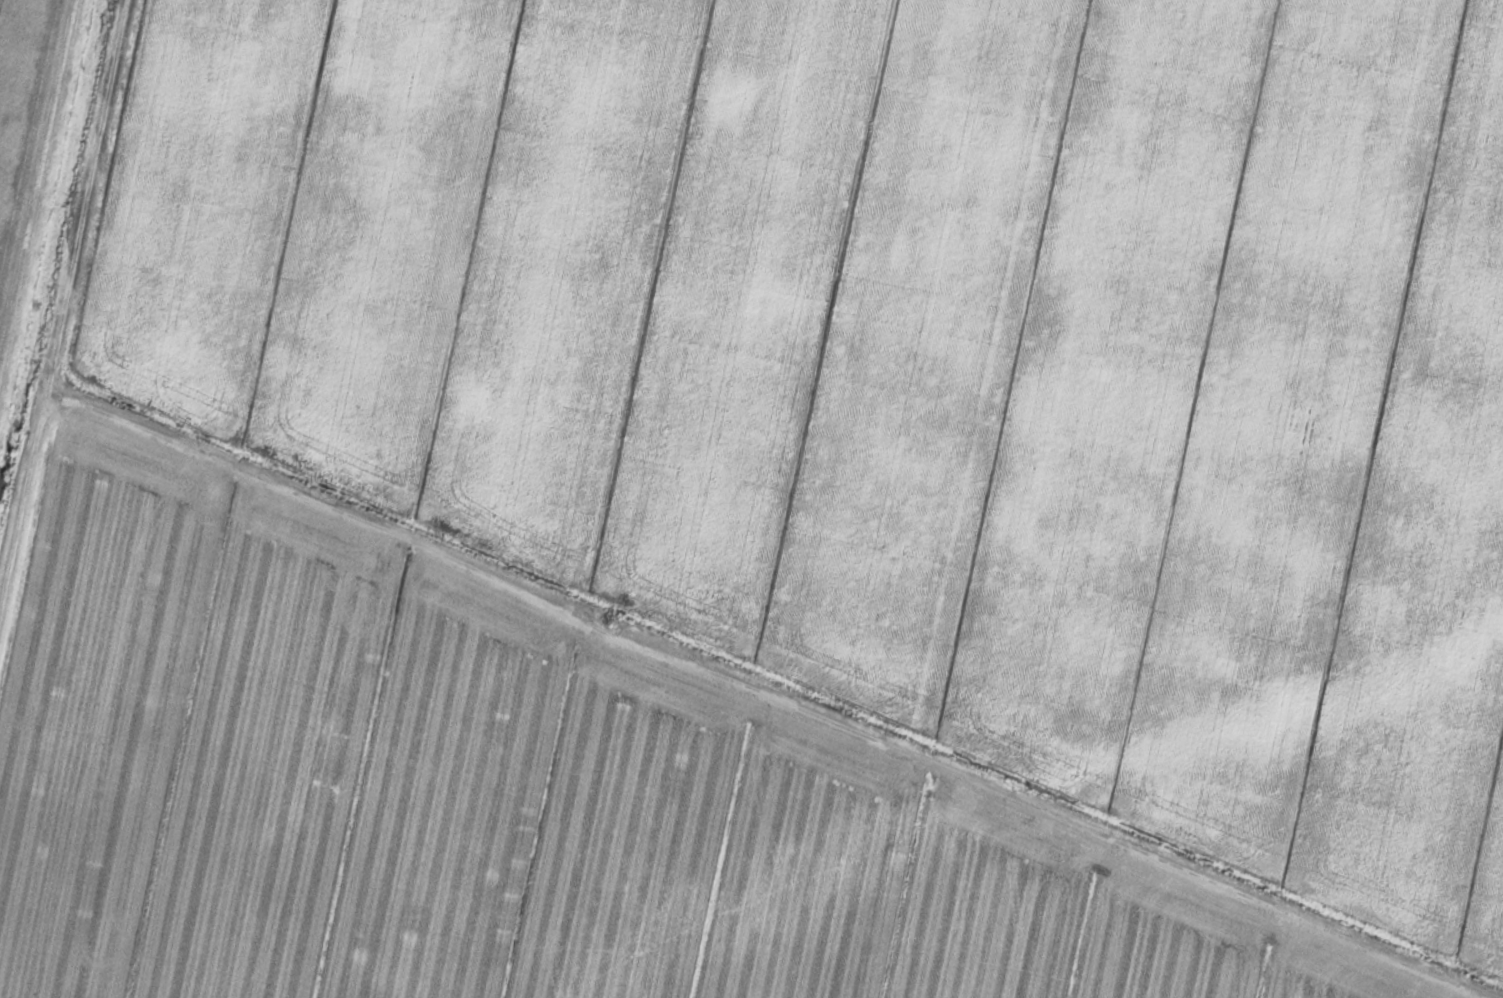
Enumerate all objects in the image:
road: (65, 317)
road: (772, 694)

